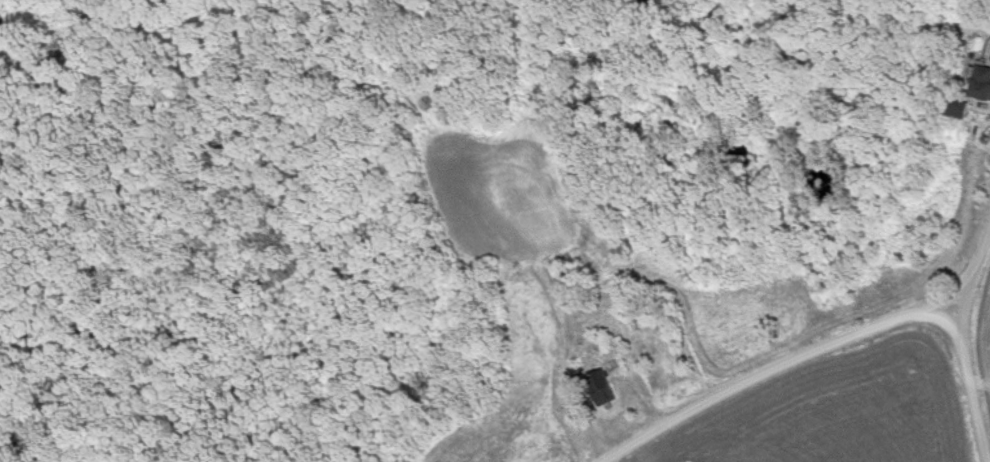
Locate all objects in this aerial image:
building: (976, 83)
building: (951, 110)
road: (958, 326)
road: (814, 350)
building: (595, 388)
road: (968, 398)

